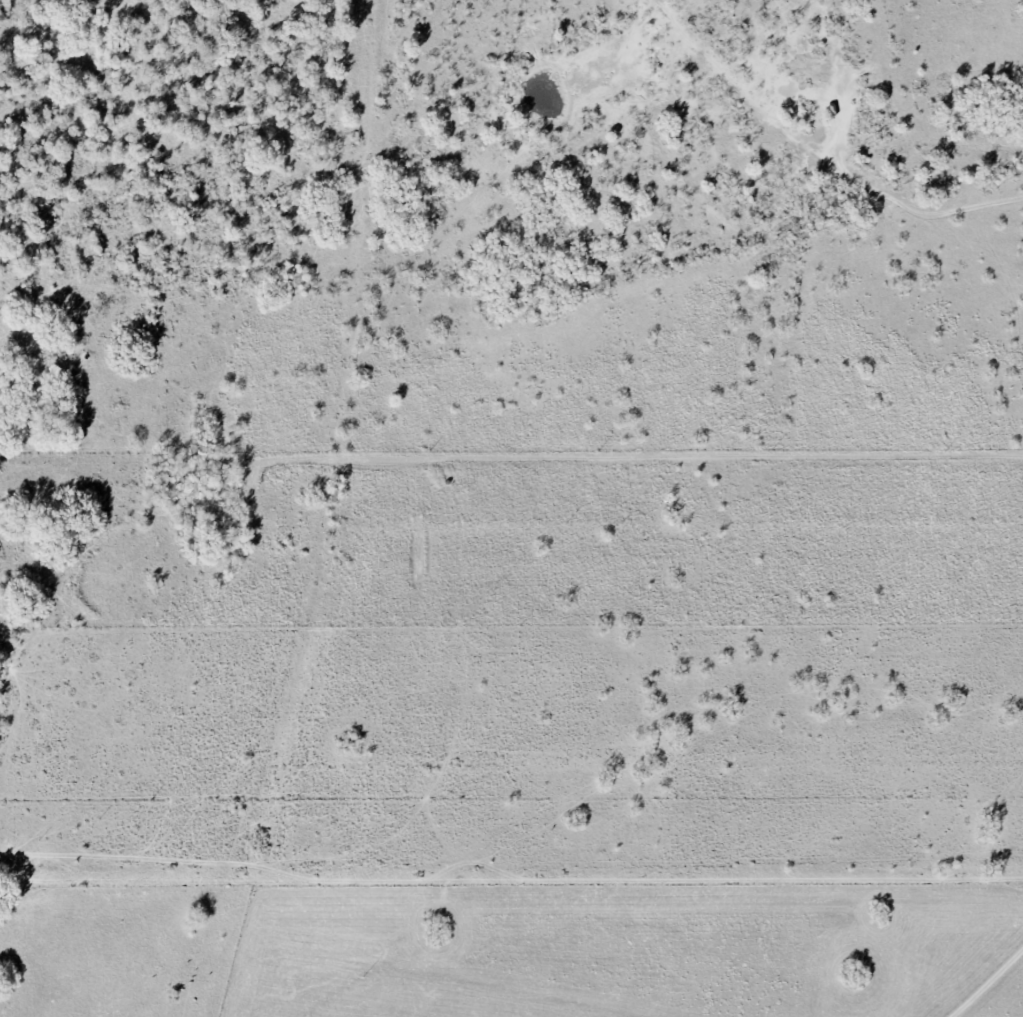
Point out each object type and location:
road: (905, 120)
road: (988, 984)

